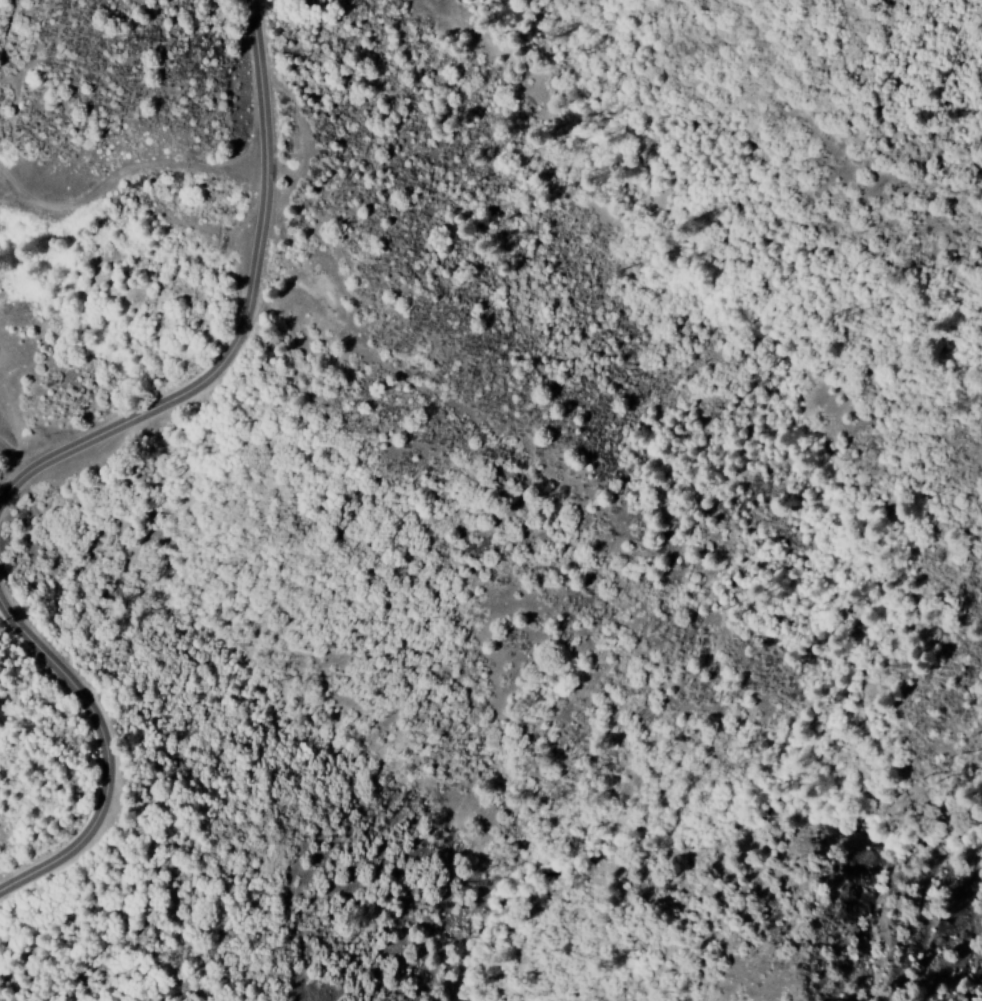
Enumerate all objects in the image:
road: (246, 318)
road: (107, 755)

